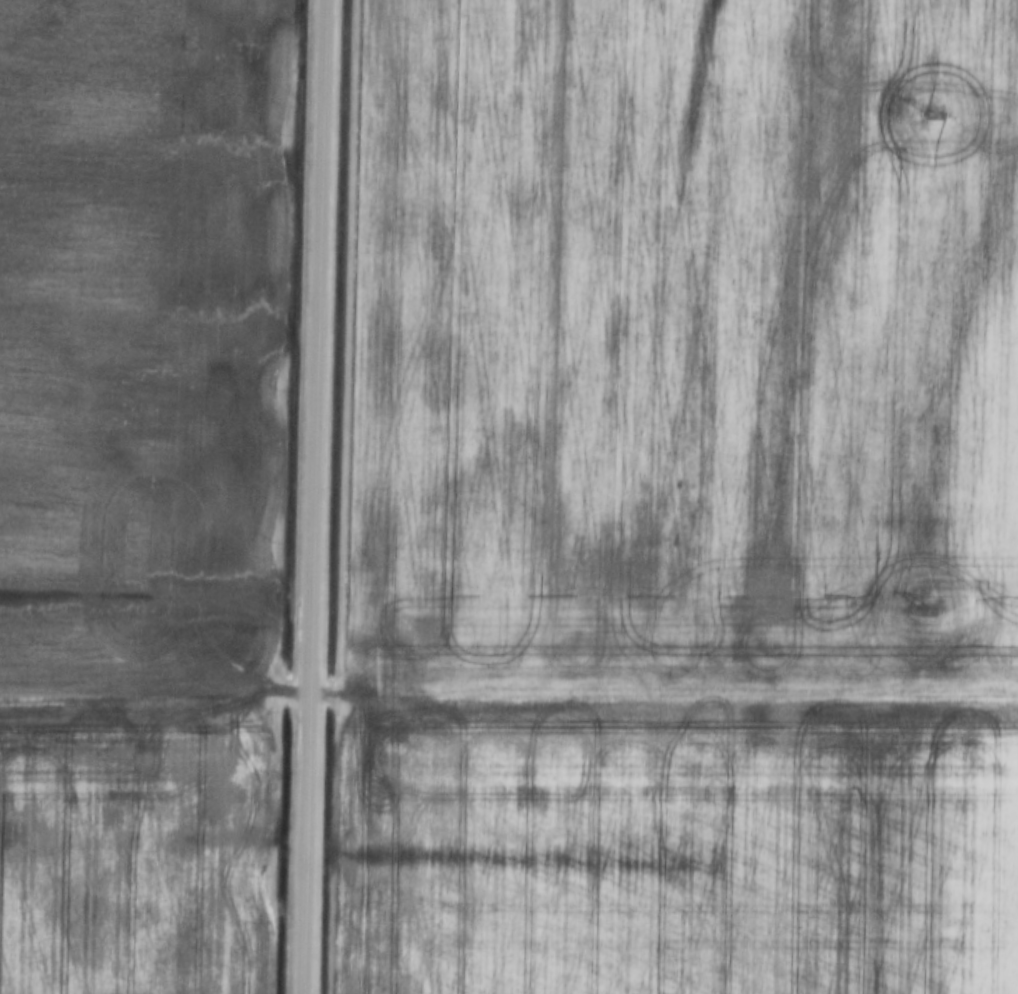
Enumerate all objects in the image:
power tower: (931, 105)
crop: (142, 338)
crop: (682, 346)
road: (310, 497)
power tower: (927, 608)
crop: (131, 840)
crop: (675, 842)

